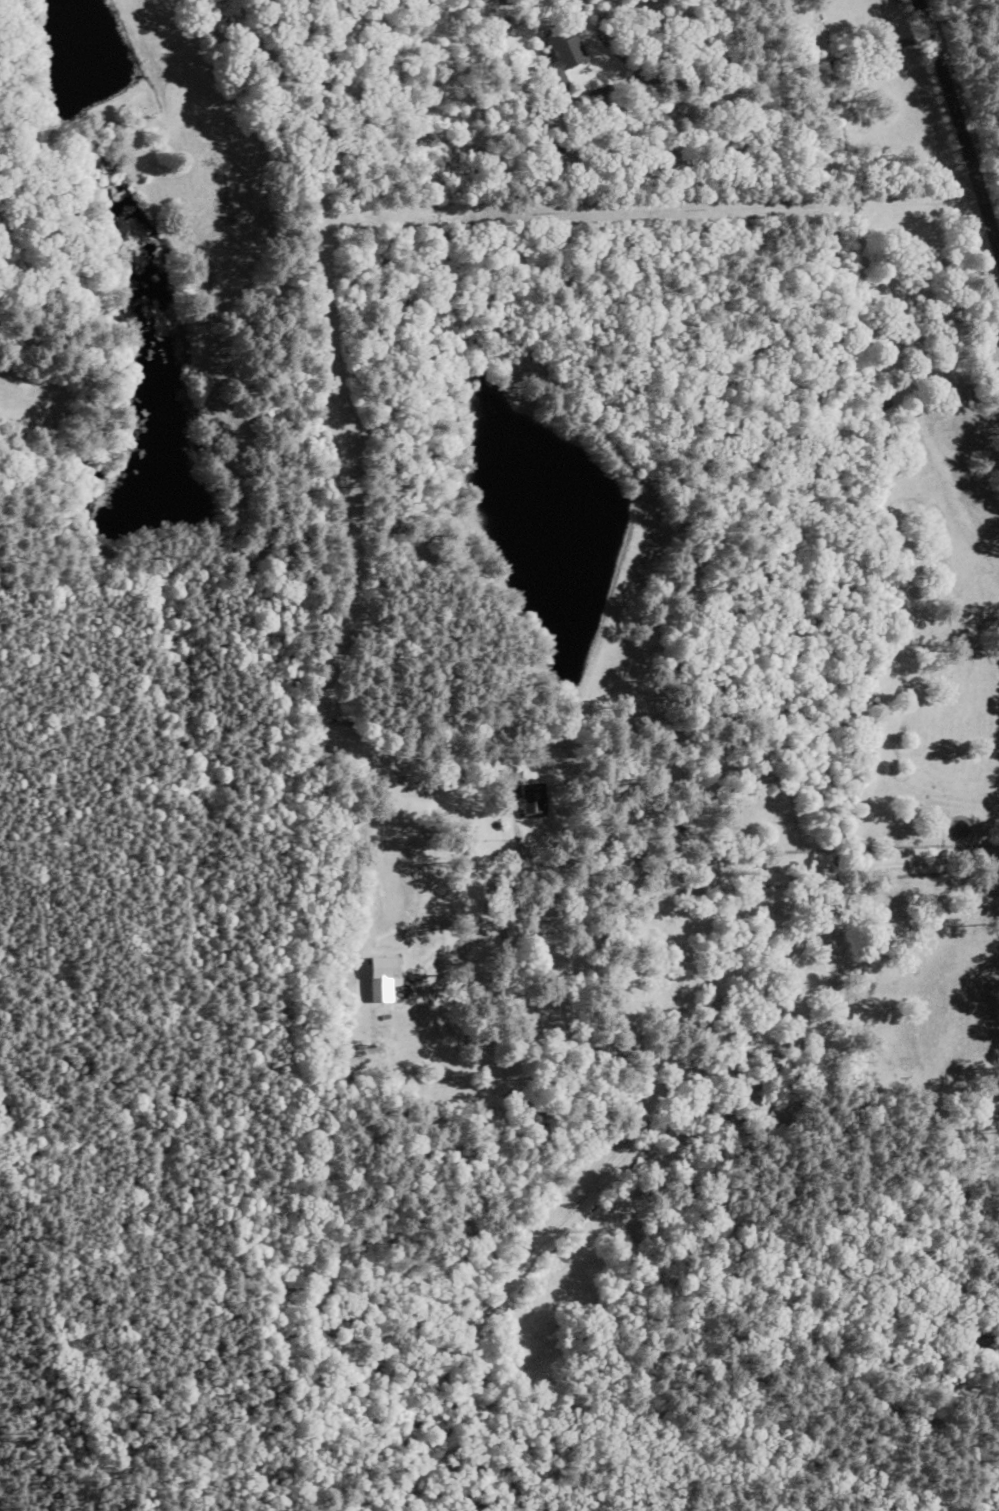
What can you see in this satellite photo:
building: (559, 54)
road: (947, 165)
building: (529, 801)

